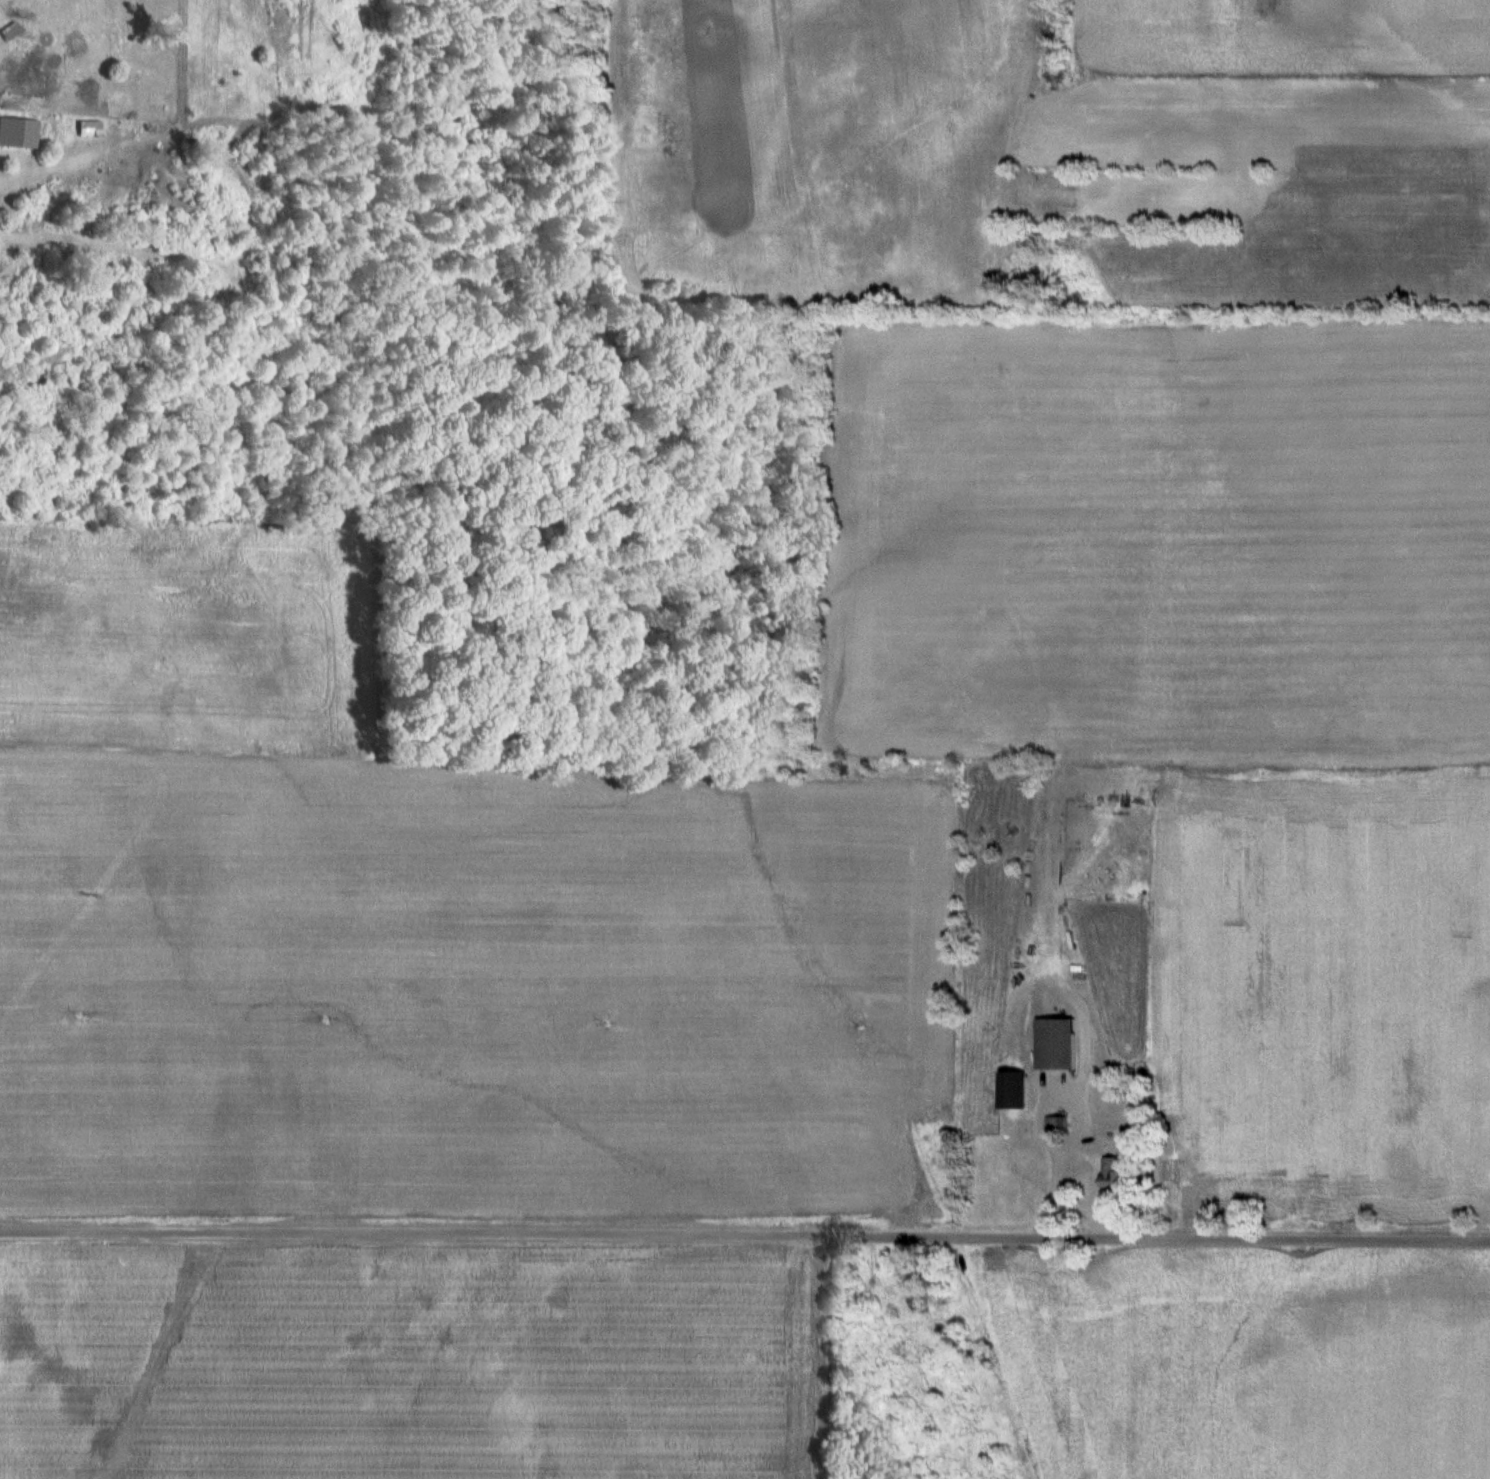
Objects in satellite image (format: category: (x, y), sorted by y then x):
road: (34, 178)
building: (1059, 1044)
building: (1012, 1090)
road: (1070, 1116)
building: (1104, 1117)
building: (1057, 1124)
building: (1116, 1174)
road: (744, 1237)

